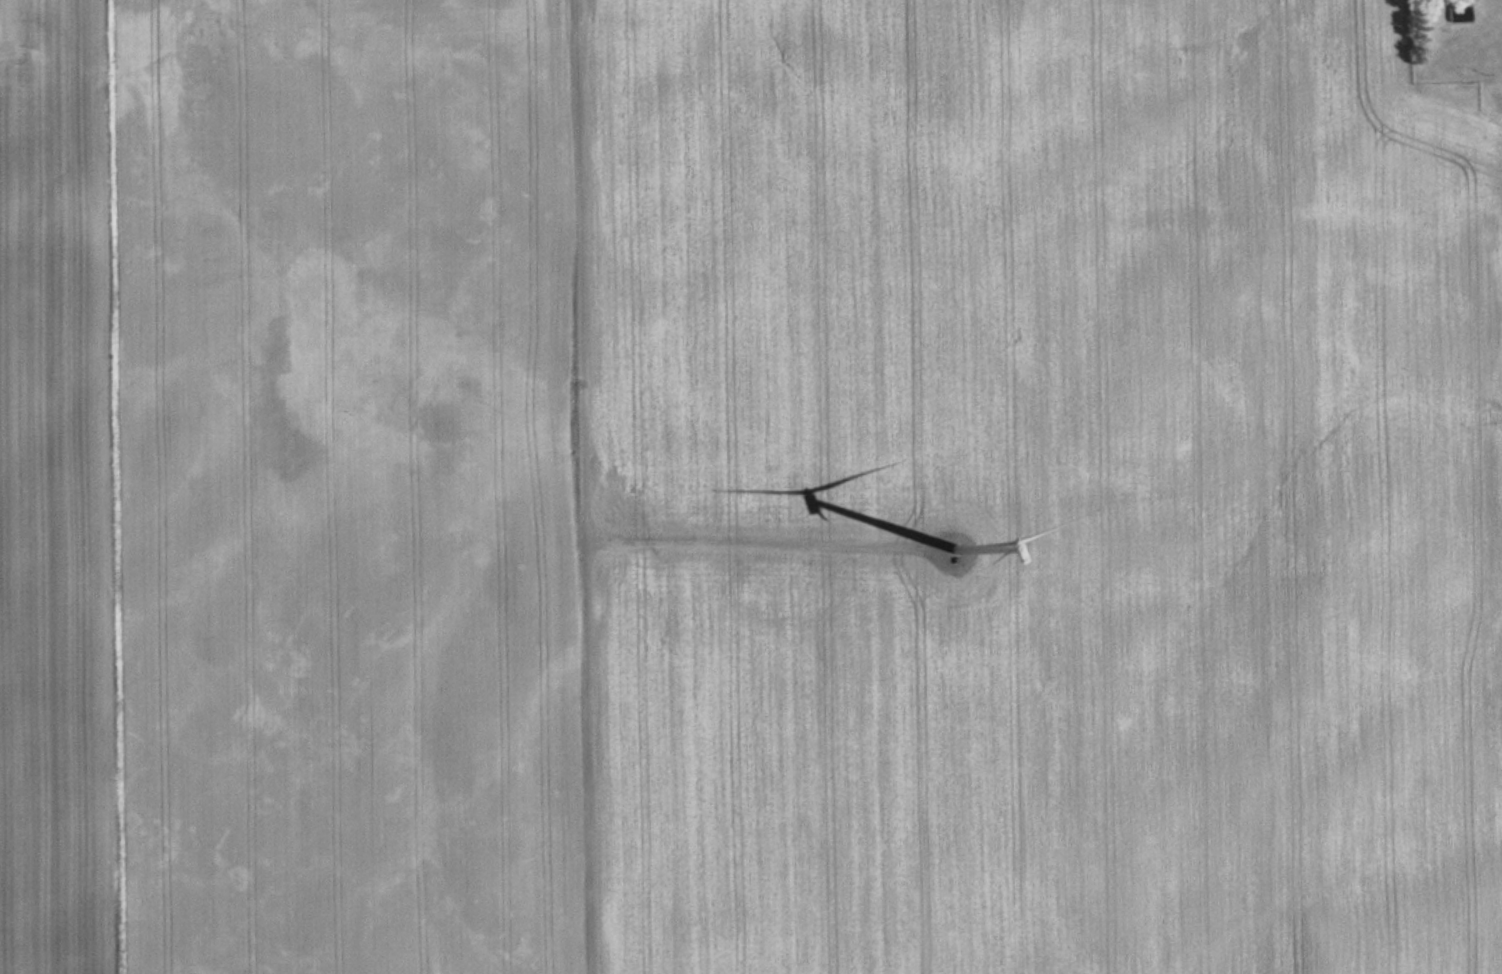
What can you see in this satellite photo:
building: (1457, 13)
road: (572, 486)
road: (732, 540)
wind turbine: (960, 553)

